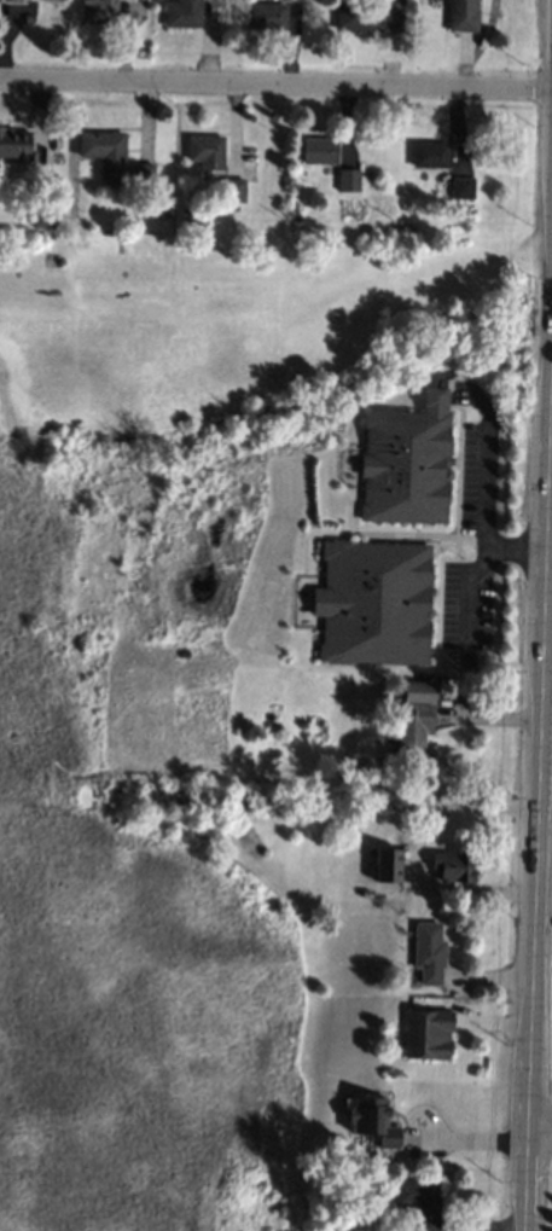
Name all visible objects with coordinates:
building: (16, 0)
building: (99, 11)
building: (181, 13)
building: (461, 14)
building: (266, 16)
building: (366, 17)
building: (28, 18)
road: (275, 88)
building: (16, 146)
building: (103, 147)
building: (318, 150)
building: (205, 151)
building: (429, 153)
building: (141, 175)
building: (347, 179)
building: (460, 186)
building: (232, 191)
building: (185, 213)
building: (40, 221)
building: (296, 221)
building: (405, 460)
road: (483, 489)
road: (548, 551)
road: (466, 590)
building: (372, 603)
building: (382, 693)
building: (413, 724)
road: (536, 815)
building: (387, 865)
building: (454, 865)
building: (366, 894)
building: (426, 952)
building: (425, 1034)
building: (372, 1120)
road: (539, 1132)
road: (463, 1142)
building: (418, 1201)

